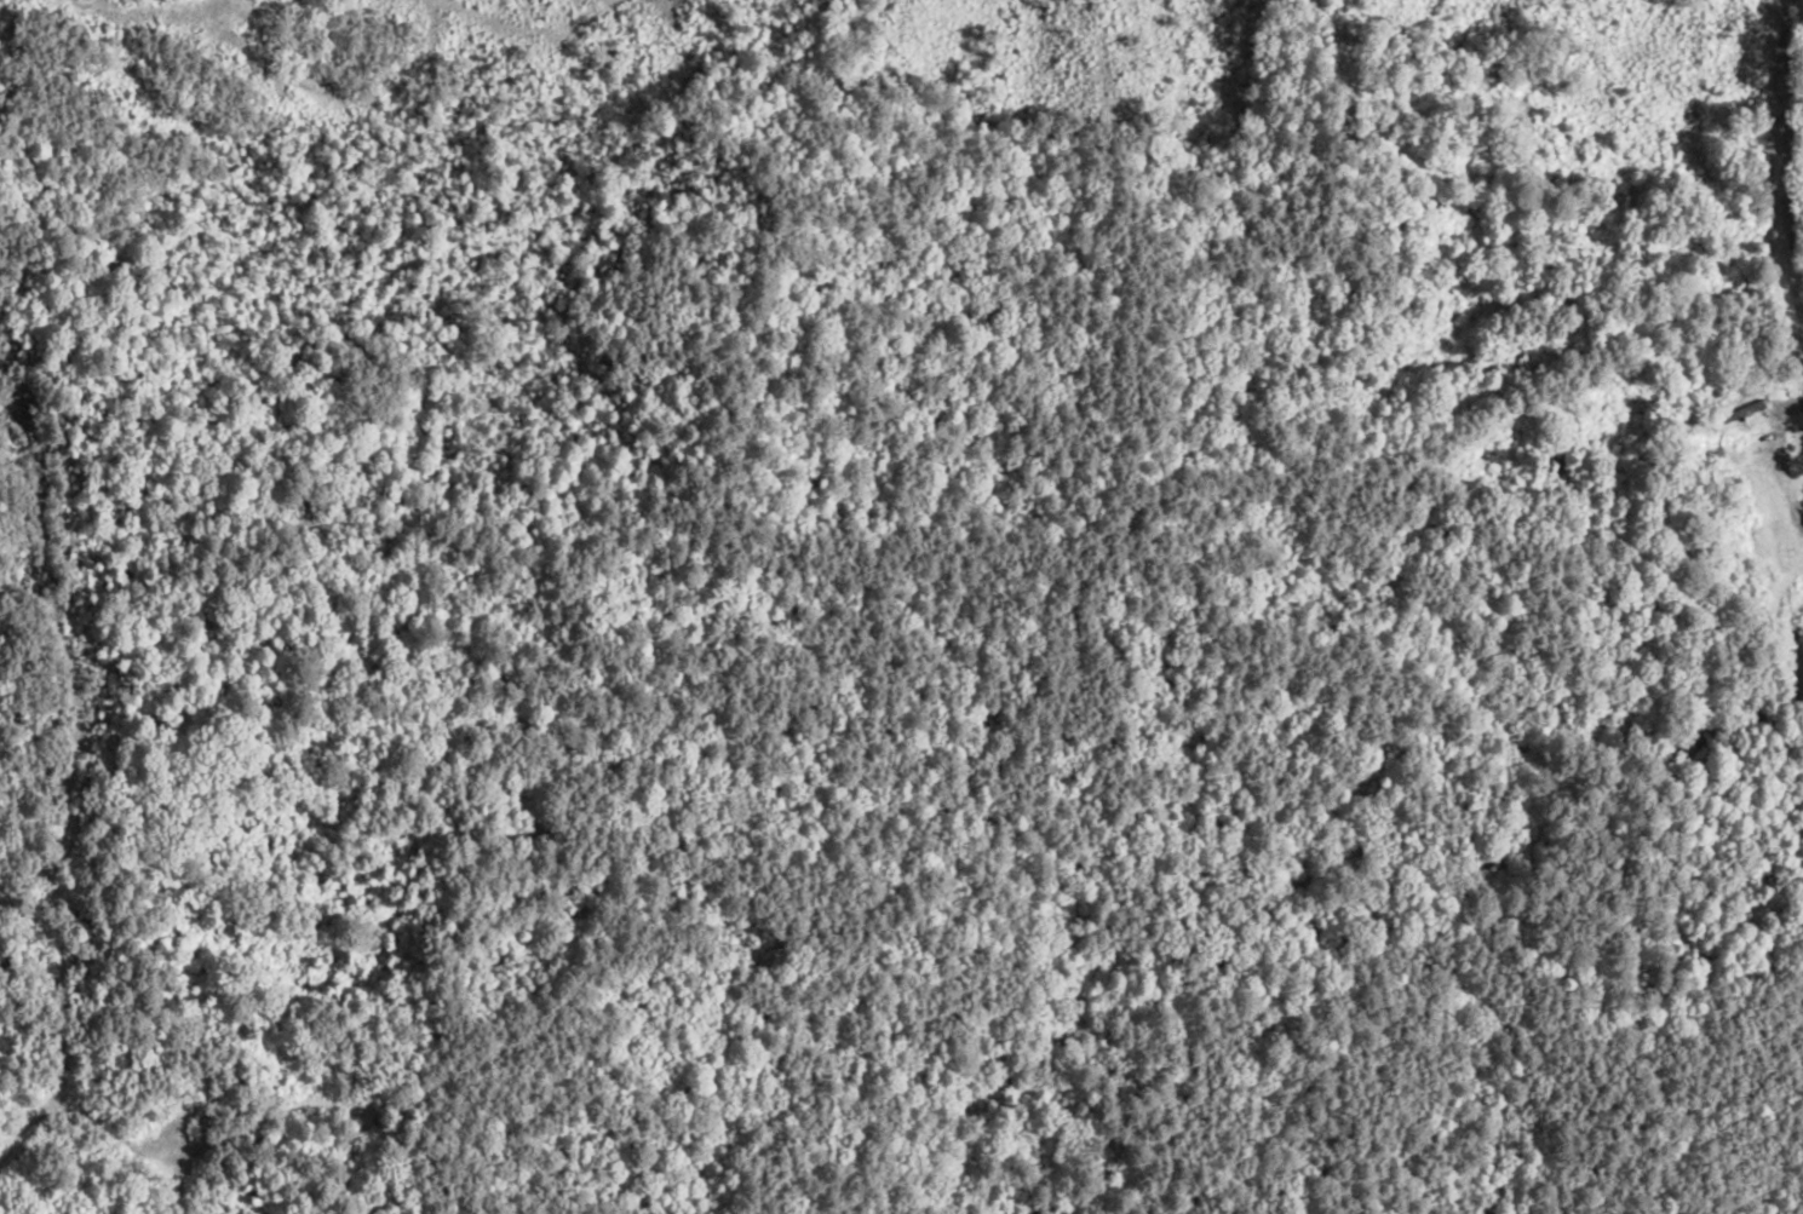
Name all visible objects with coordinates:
building: (1782, 539)

